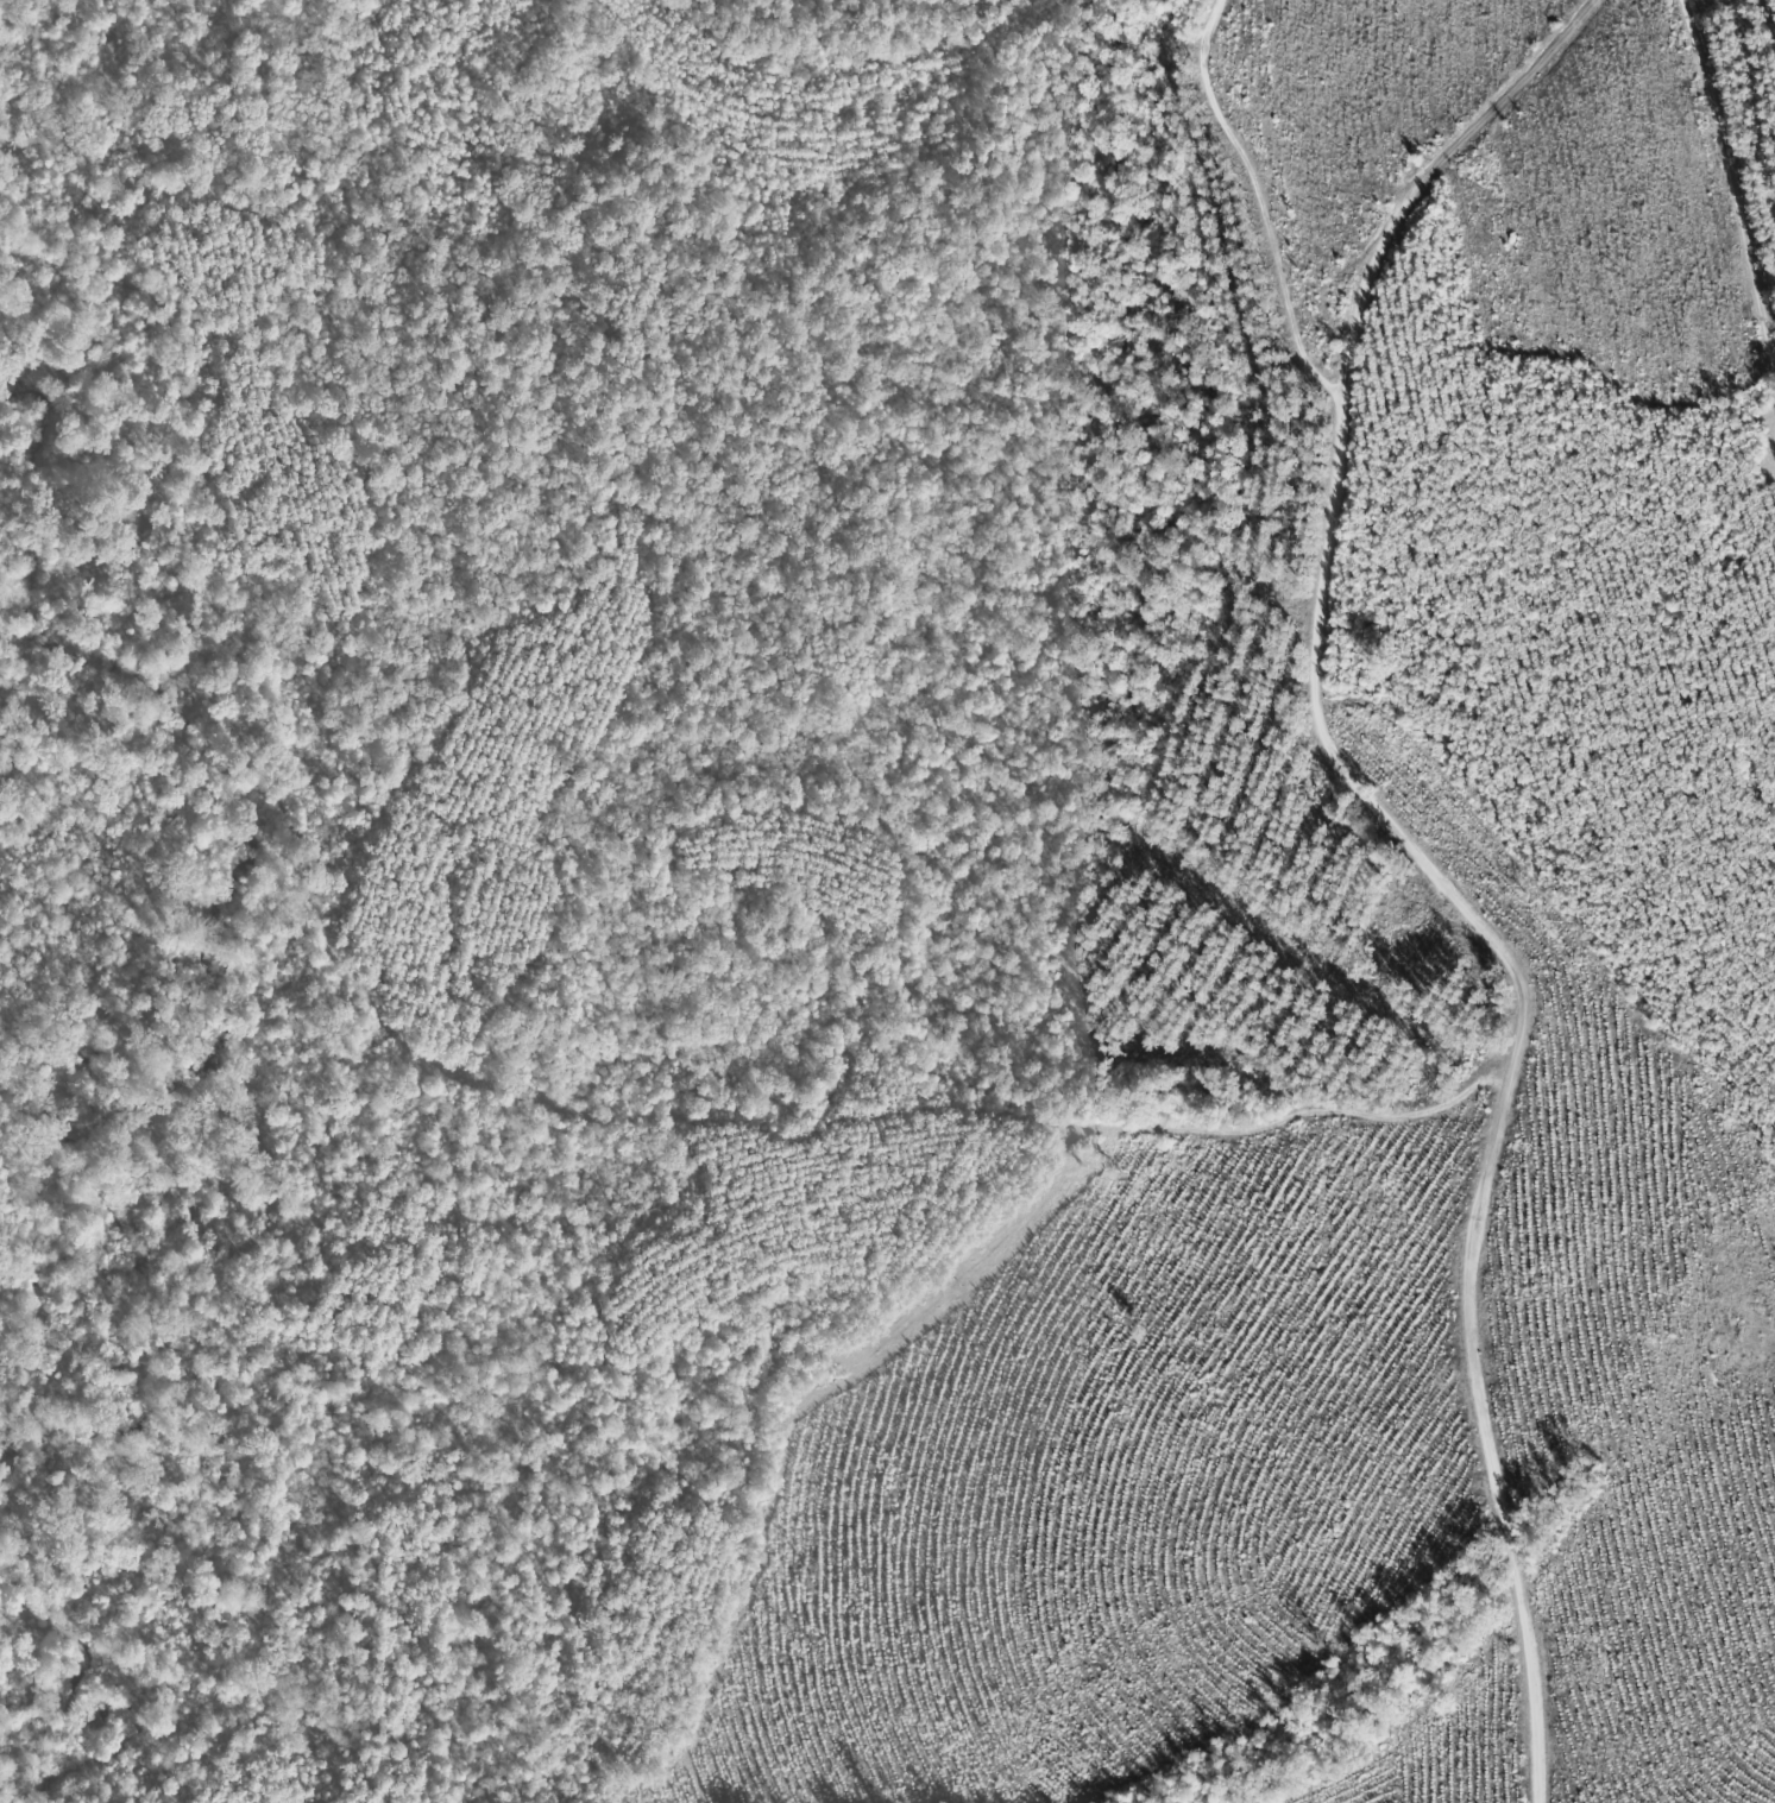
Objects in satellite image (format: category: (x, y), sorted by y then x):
road: (1731, 165)
road: (1439, 853)

